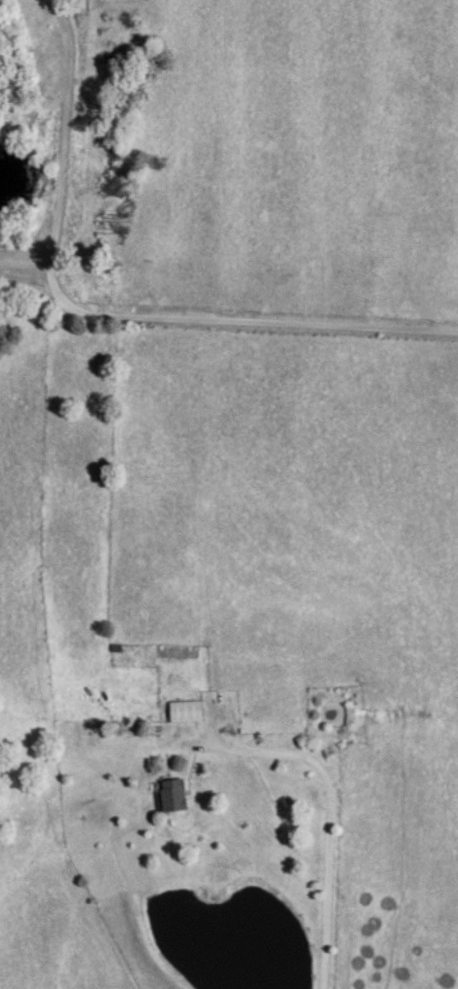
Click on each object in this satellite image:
road: (99, 315)
building: (188, 710)
road: (322, 788)
building: (173, 794)

